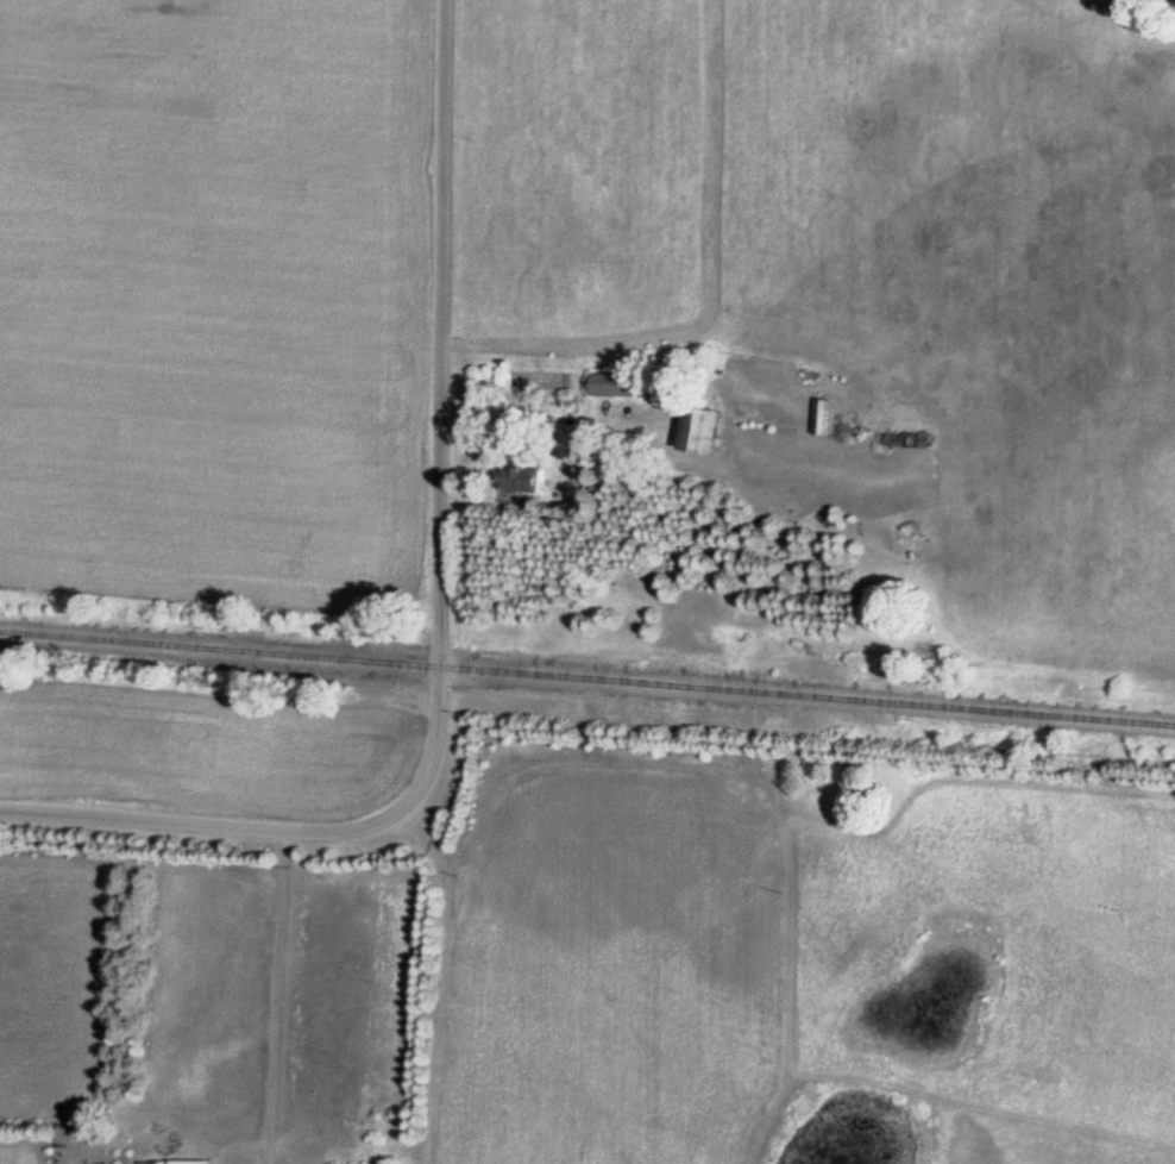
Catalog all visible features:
road: (442, 333)
building: (618, 384)
building: (822, 417)
building: (702, 431)
building: (905, 439)
building: (520, 478)
railway: (587, 677)
road: (435, 744)
road: (203, 827)
building: (175, 1162)

